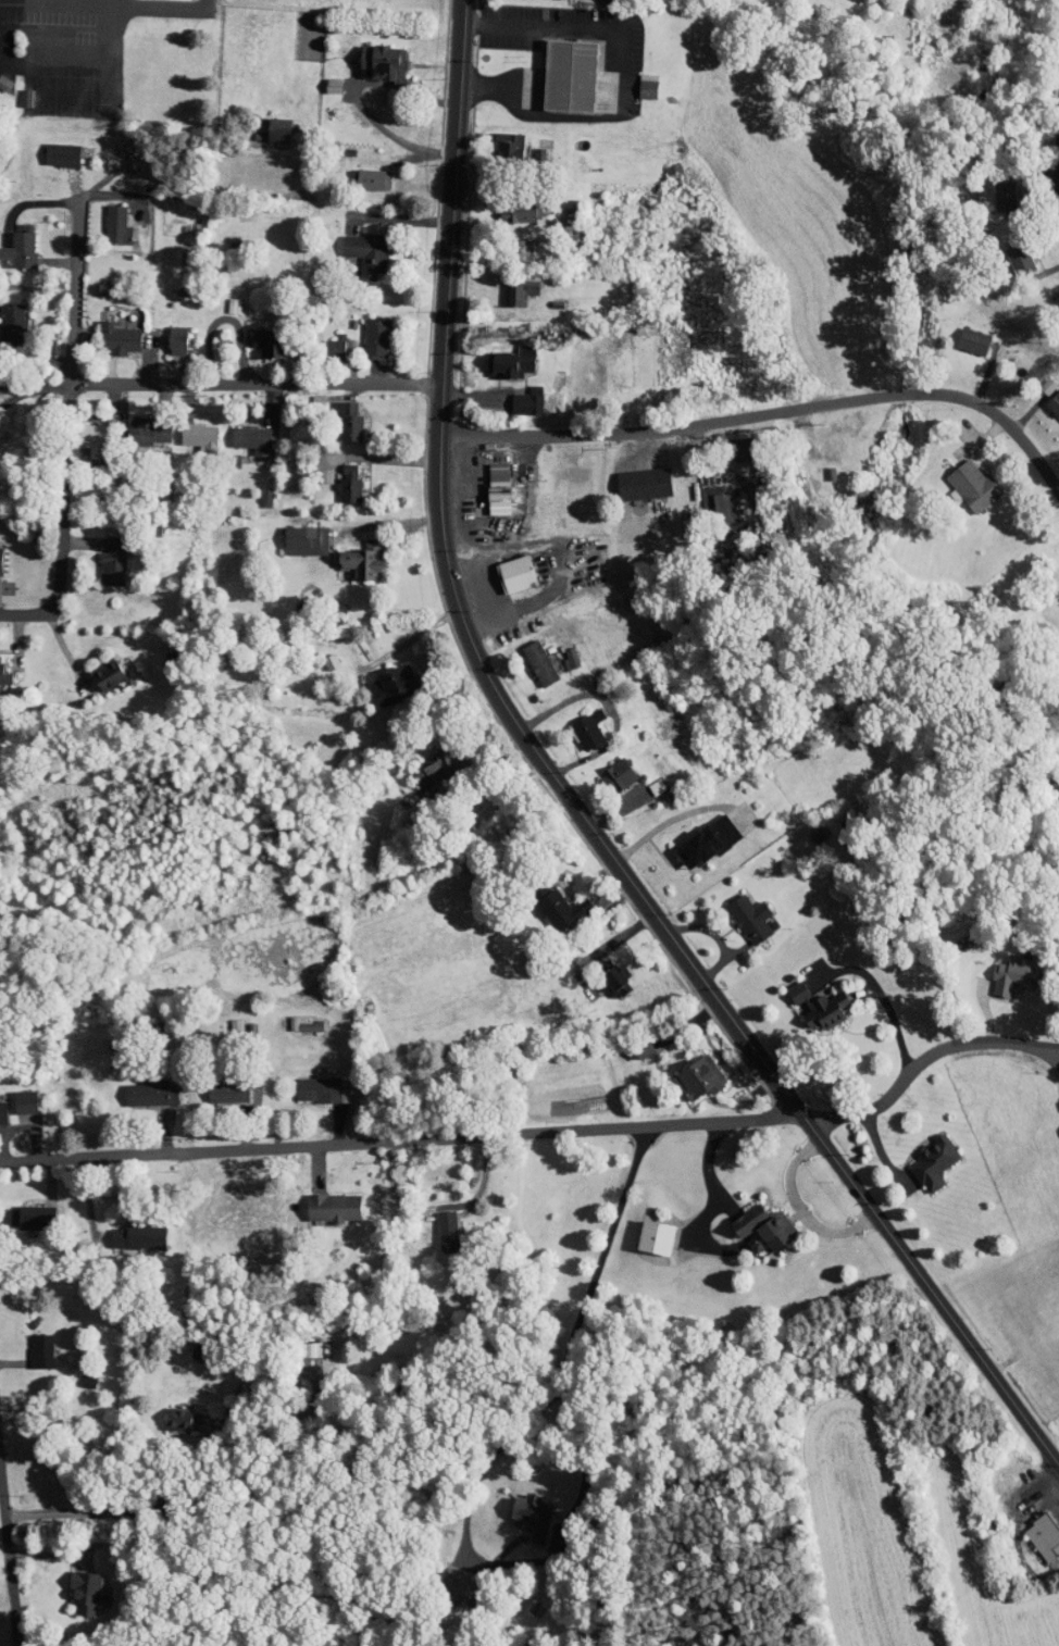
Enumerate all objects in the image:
road: (99, 1)
road: (127, 4)
building: (371, 55)
building: (557, 68)
building: (321, 78)
building: (635, 79)
building: (266, 123)
building: (499, 138)
building: (49, 148)
building: (358, 173)
building: (989, 190)
building: (508, 205)
building: (104, 219)
building: (11, 240)
building: (513, 244)
building: (354, 246)
building: (1008, 252)
building: (509, 284)
building: (1052, 314)
building: (5, 316)
building: (107, 332)
building: (363, 332)
building: (164, 334)
building: (961, 335)
building: (257, 338)
building: (322, 341)
building: (502, 354)
building: (1034, 379)
road: (247, 387)
building: (515, 395)
building: (1048, 399)
road: (764, 413)
building: (336, 414)
building: (136, 425)
building: (188, 431)
road: (58, 433)
building: (240, 433)
building: (80, 434)
building: (632, 477)
building: (336, 478)
building: (961, 479)
building: (282, 483)
building: (488, 484)
building: (253, 490)
building: (705, 498)
building: (294, 534)
building: (350, 553)
building: (101, 557)
building: (503, 568)
building: (558, 652)
building: (527, 657)
building: (95, 668)
building: (378, 681)
road: (491, 699)
building: (576, 723)
building: (423, 762)
building: (606, 770)
building: (695, 837)
building: (547, 902)
building: (736, 908)
building: (1001, 968)
building: (605, 972)
road: (882, 997)
building: (808, 998)
building: (633, 1038)
road: (918, 1060)
building: (687, 1071)
building: (306, 1082)
building: (215, 1084)
building: (138, 1085)
building: (13, 1095)
road: (396, 1138)
building: (922, 1156)
building: (321, 1199)
building: (24, 1211)
building: (752, 1218)
building: (435, 1223)
building: (126, 1230)
building: (644, 1230)
road: (933, 1311)
building: (28, 1344)
building: (212, 1348)
road: (228, 1367)
building: (76, 1373)
road: (203, 1381)
road: (1008, 1411)
building: (166, 1412)
building: (195, 1418)
road: (217, 1431)
road: (575, 1481)
building: (522, 1510)
building: (1034, 1530)
road: (9, 1561)
building: (447, 1574)
building: (75, 1586)

